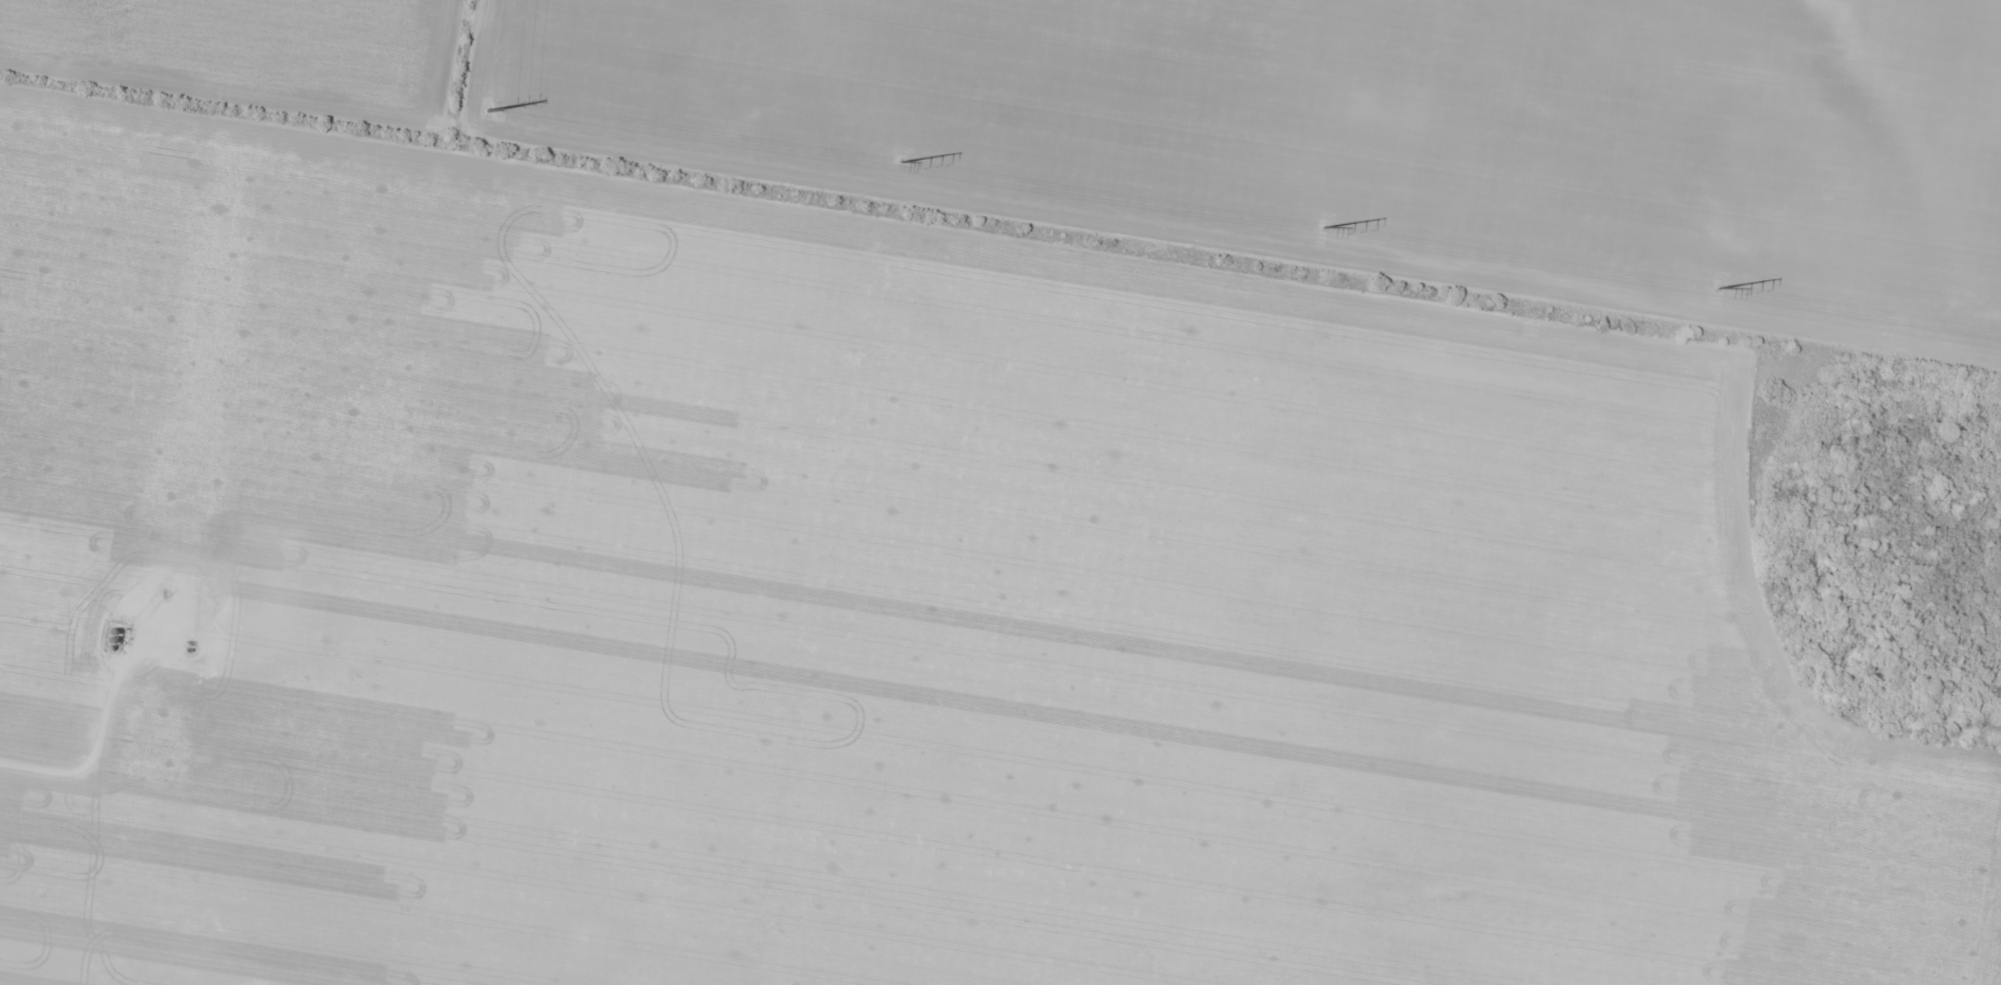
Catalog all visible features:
power tower: (489, 110)
power tower: (902, 161)
power tower: (1325, 226)
power tower: (1720, 288)

